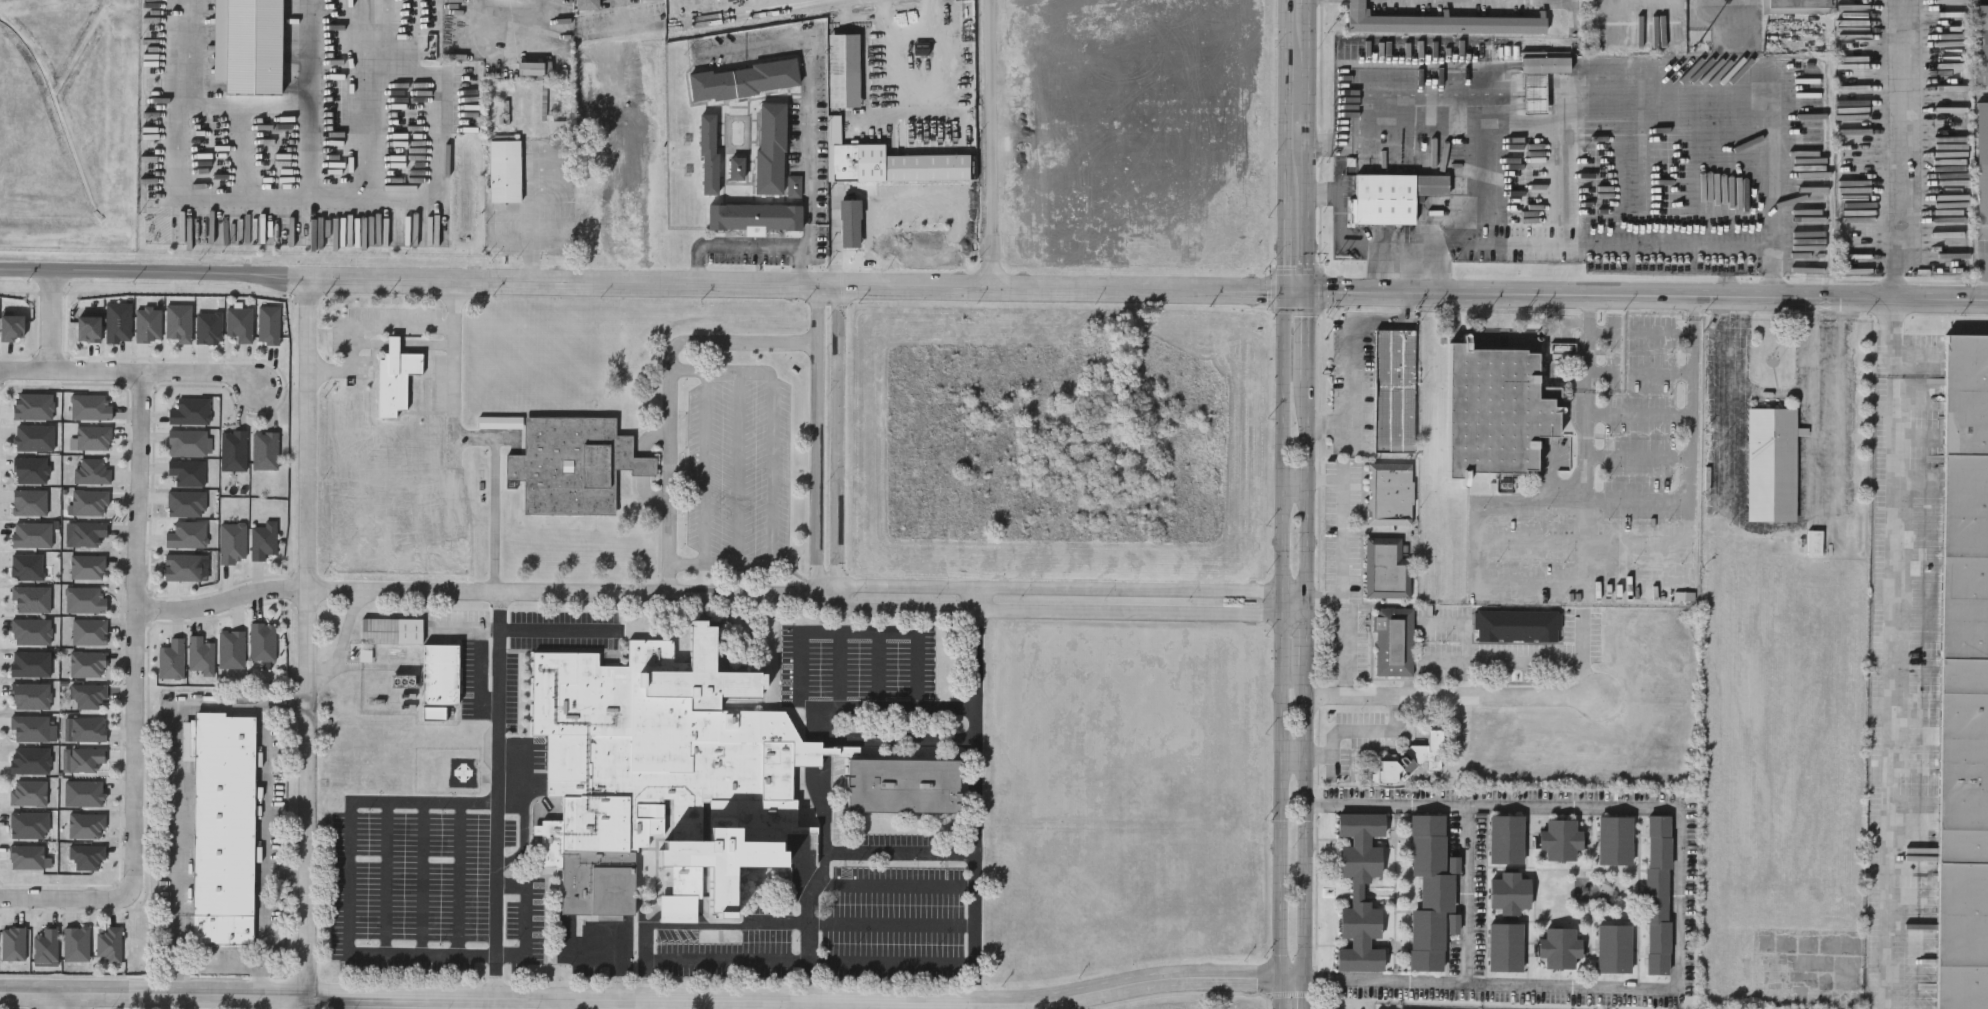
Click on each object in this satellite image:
building: (651, 0)
road: (1727, 2)
building: (587, 4)
building: (1793, 5)
building: (367, 8)
road: (1744, 11)
road: (799, 14)
road: (619, 15)
road: (735, 16)
building: (1439, 21)
road: (751, 41)
building: (1980, 43)
road: (509, 57)
building: (1544, 63)
building: (843, 70)
building: (743, 78)
road: (362, 98)
road: (248, 102)
road: (905, 116)
road: (807, 121)
building: (562, 129)
road: (433, 138)
road: (992, 144)
road: (244, 148)
road: (1898, 148)
building: (771, 149)
road: (1668, 149)
building: (709, 154)
building: (886, 161)
building: (1982, 161)
building: (505, 168)
building: (737, 168)
building: (793, 188)
road: (245, 193)
building: (1391, 196)
road: (899, 206)
road: (531, 217)
building: (754, 217)
building: (850, 221)
road: (1343, 239)
road: (734, 243)
road: (835, 245)
road: (804, 254)
road: (290, 276)
road: (944, 287)
traffic signals: (1286, 288)
traffic signals: (1308, 288)
road: (1648, 293)
road: (53, 322)
building: (238, 324)
building: (267, 325)
road: (384, 326)
road: (1603, 333)
road: (1665, 334)
road: (1352, 355)
road: (454, 369)
road: (134, 373)
building: (395, 377)
building: (1394, 390)
road: (1770, 390)
road: (668, 397)
road: (1838, 399)
road: (1727, 402)
road: (1813, 405)
building: (89, 406)
building: (1497, 410)
building: (189, 411)
building: (500, 422)
road: (310, 433)
road: (815, 440)
road: (837, 440)
building: (186, 442)
road: (1692, 449)
building: (232, 450)
building: (264, 450)
building: (573, 464)
building: (1772, 464)
parking lot: (738, 465)
road: (703, 466)
road: (738, 466)
road: (771, 467)
building: (91, 470)
building: (186, 472)
building: (1390, 494)
road: (1504, 501)
building: (88, 502)
building: (185, 503)
road: (1282, 504)
road: (1307, 504)
road: (1782, 527)
building: (84, 533)
building: (186, 534)
building: (262, 540)
building: (231, 543)
road: (1342, 557)
building: (87, 566)
building: (181, 567)
building: (1387, 568)
road: (1671, 574)
road: (1065, 590)
road: (568, 591)
building: (84, 600)
road: (225, 600)
road: (1064, 611)
building: (1516, 626)
building: (391, 631)
road: (554, 631)
building: (88, 632)
road: (850, 633)
road: (138, 635)
road: (341, 639)
building: (261, 641)
building: (1394, 642)
building: (230, 649)
road: (1893, 653)
road: (1582, 654)
building: (199, 655)
building: (170, 659)
parking lot: (858, 661)
road: (1446, 661)
building: (87, 664)
road: (839, 671)
road: (879, 671)
building: (440, 675)
building: (402, 681)
building: (1964, 681)
road: (1451, 694)
building: (87, 696)
road: (881, 710)
building: (87, 729)
road: (1347, 731)
road: (898, 742)
building: (841, 751)
road: (818, 755)
building: (1410, 758)
building: (81, 759)
helipad: (463, 771)
building: (661, 774)
building: (903, 785)
road: (175, 786)
road: (309, 791)
road: (497, 794)
road: (977, 795)
building: (27, 825)
building: (85, 826)
road: (527, 828)
building: (224, 830)
building: (1505, 841)
building: (1559, 841)
building: (1614, 842)
road: (267, 850)
road: (900, 854)
building: (24, 857)
building: (84, 857)
road: (350, 877)
road: (386, 878)
road: (422, 878)
road: (460, 878)
parking lot: (409, 881)
road: (833, 886)
building: (1359, 894)
building: (1429, 894)
road: (1466, 894)
building: (1509, 894)
building: (1657, 896)
road: (67, 898)
road: (1678, 899)
road: (526, 918)
road: (860, 925)
road: (809, 942)
building: (107, 944)
building: (44, 945)
building: (1505, 949)
building: (1559, 950)
building: (1613, 950)
road: (222, 963)
road: (790, 964)
road: (154, 992)
road: (51, 1000)
road: (73, 1000)
road: (286, 1001)
road: (808, 1001)
road: (559, 1003)
road: (642, 1004)
road: (798, 1005)
road: (838, 1005)
road: (975, 1006)

